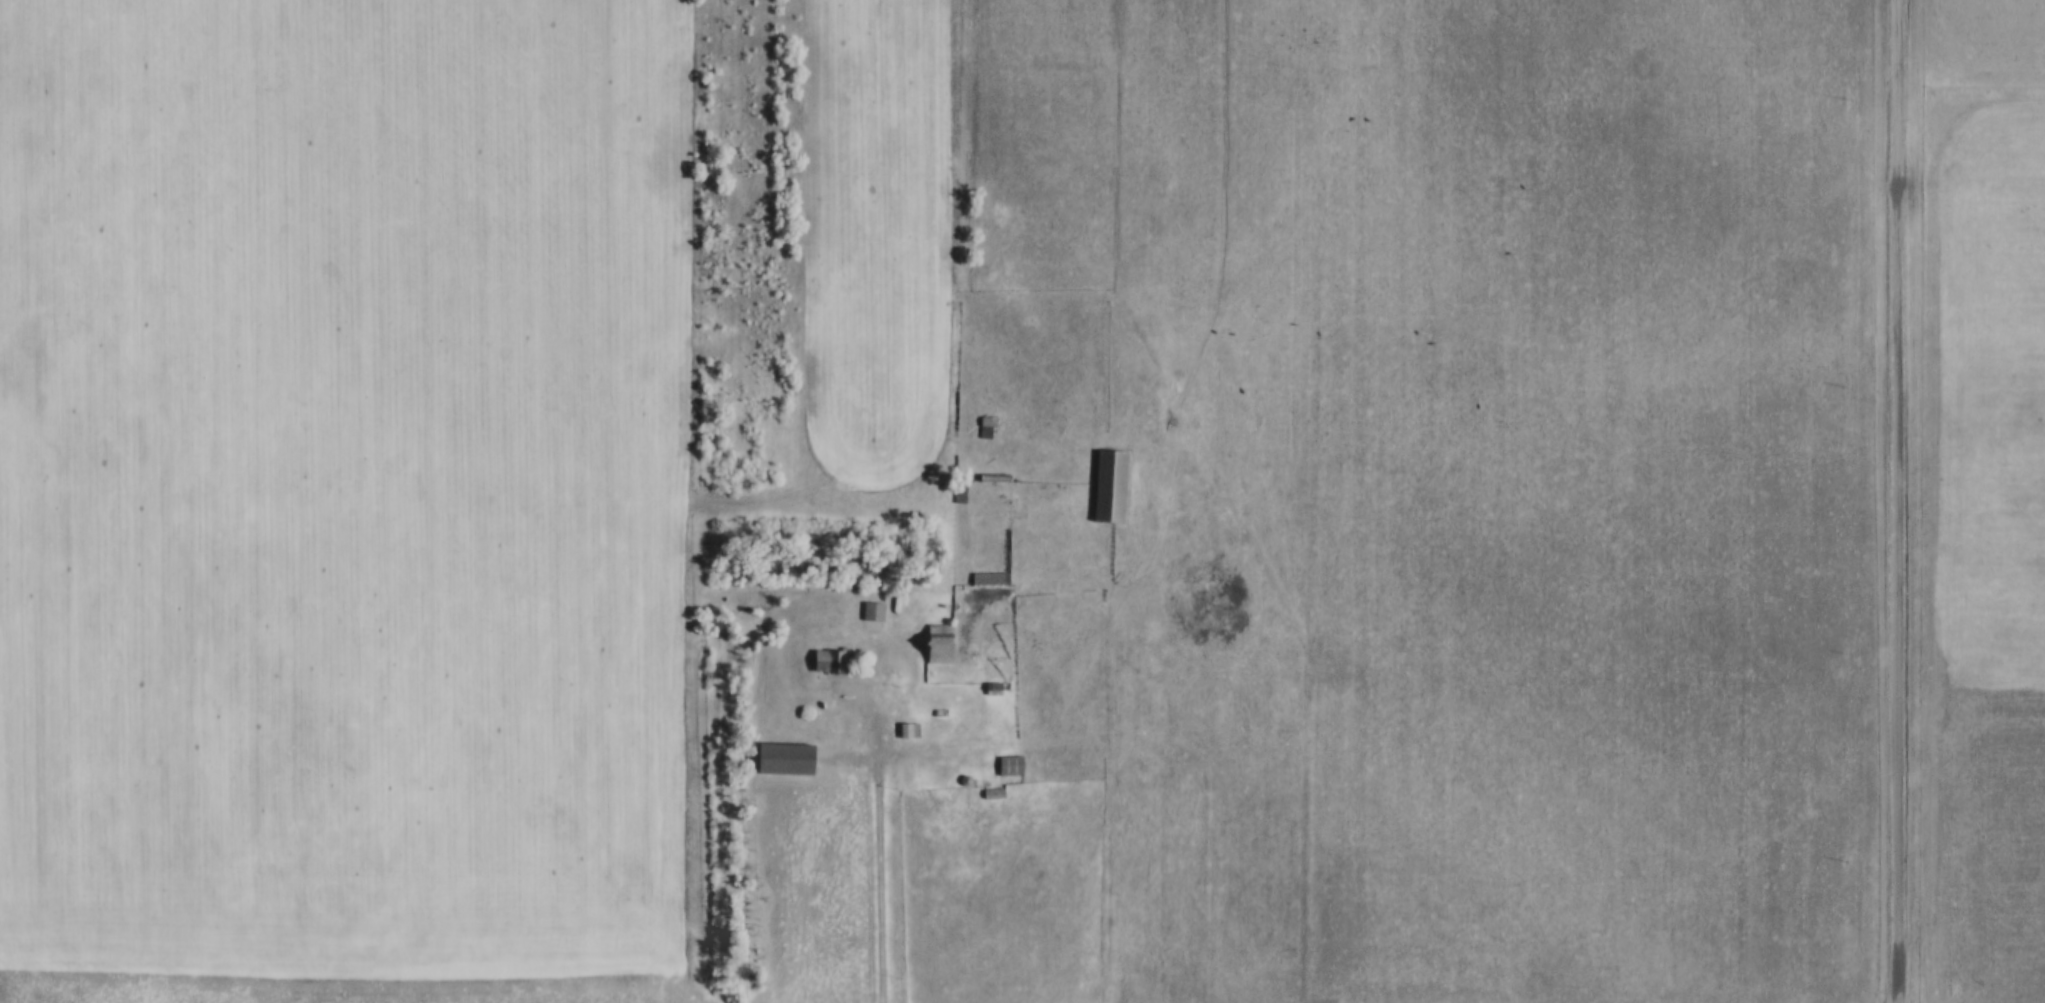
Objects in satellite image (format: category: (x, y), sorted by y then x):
building: (987, 426)
building: (1110, 484)
building: (959, 490)
building: (1018, 498)
road: (1898, 501)
road: (817, 507)
building: (873, 610)
building: (940, 642)
road: (905, 645)
building: (831, 658)
building: (786, 757)
building: (1011, 765)
building: (994, 793)
road: (884, 865)

